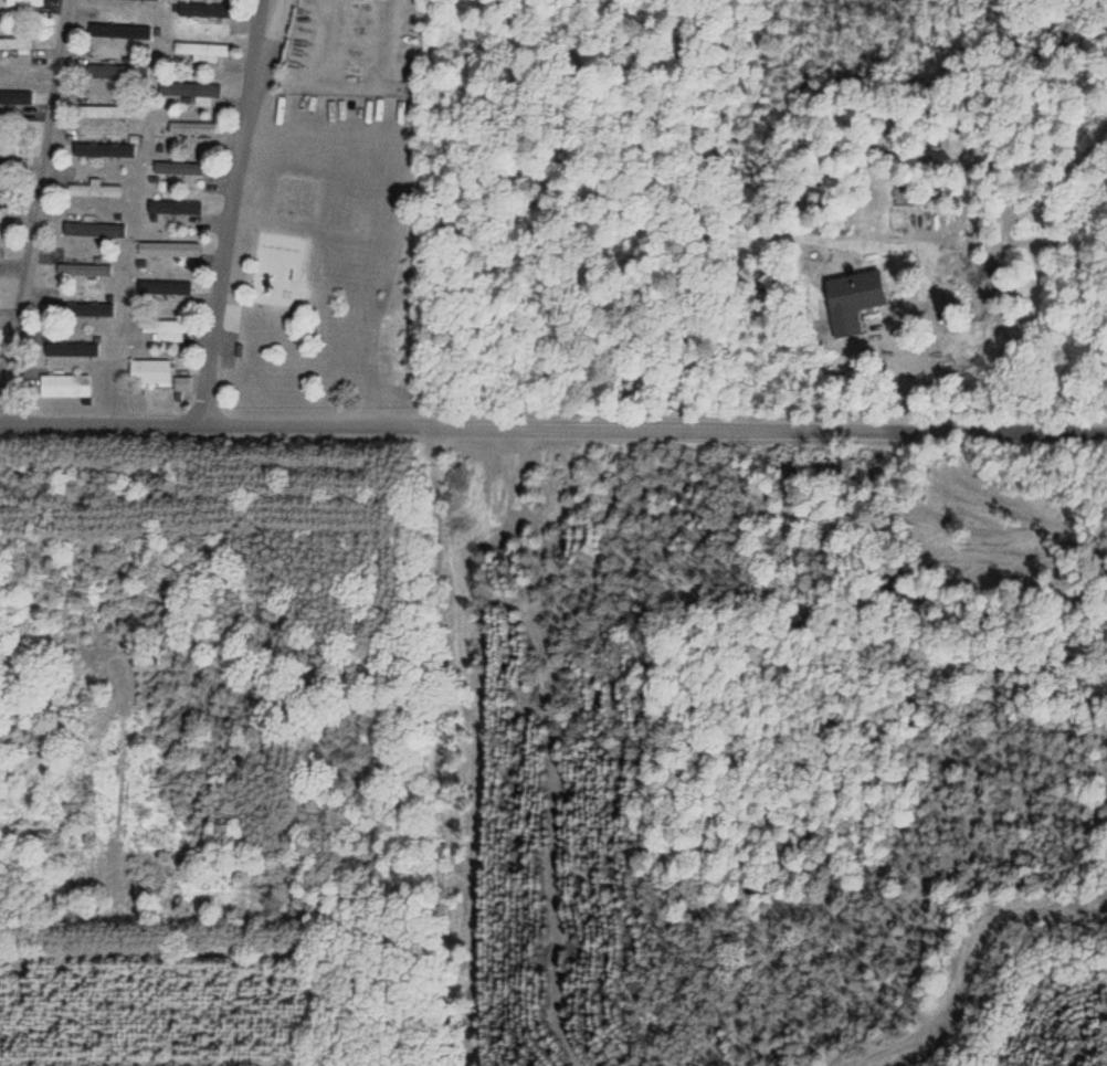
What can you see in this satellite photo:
building: (23, 2)
building: (117, 32)
building: (17, 43)
building: (203, 51)
building: (192, 91)
building: (13, 101)
building: (105, 112)
building: (190, 128)
building: (7, 149)
building: (177, 168)
building: (93, 190)
road: (40, 192)
road: (228, 209)
building: (168, 251)
building: (86, 271)
building: (850, 300)
building: (165, 330)
building: (59, 345)
building: (150, 371)
building: (180, 384)
building: (65, 386)
road: (552, 421)

